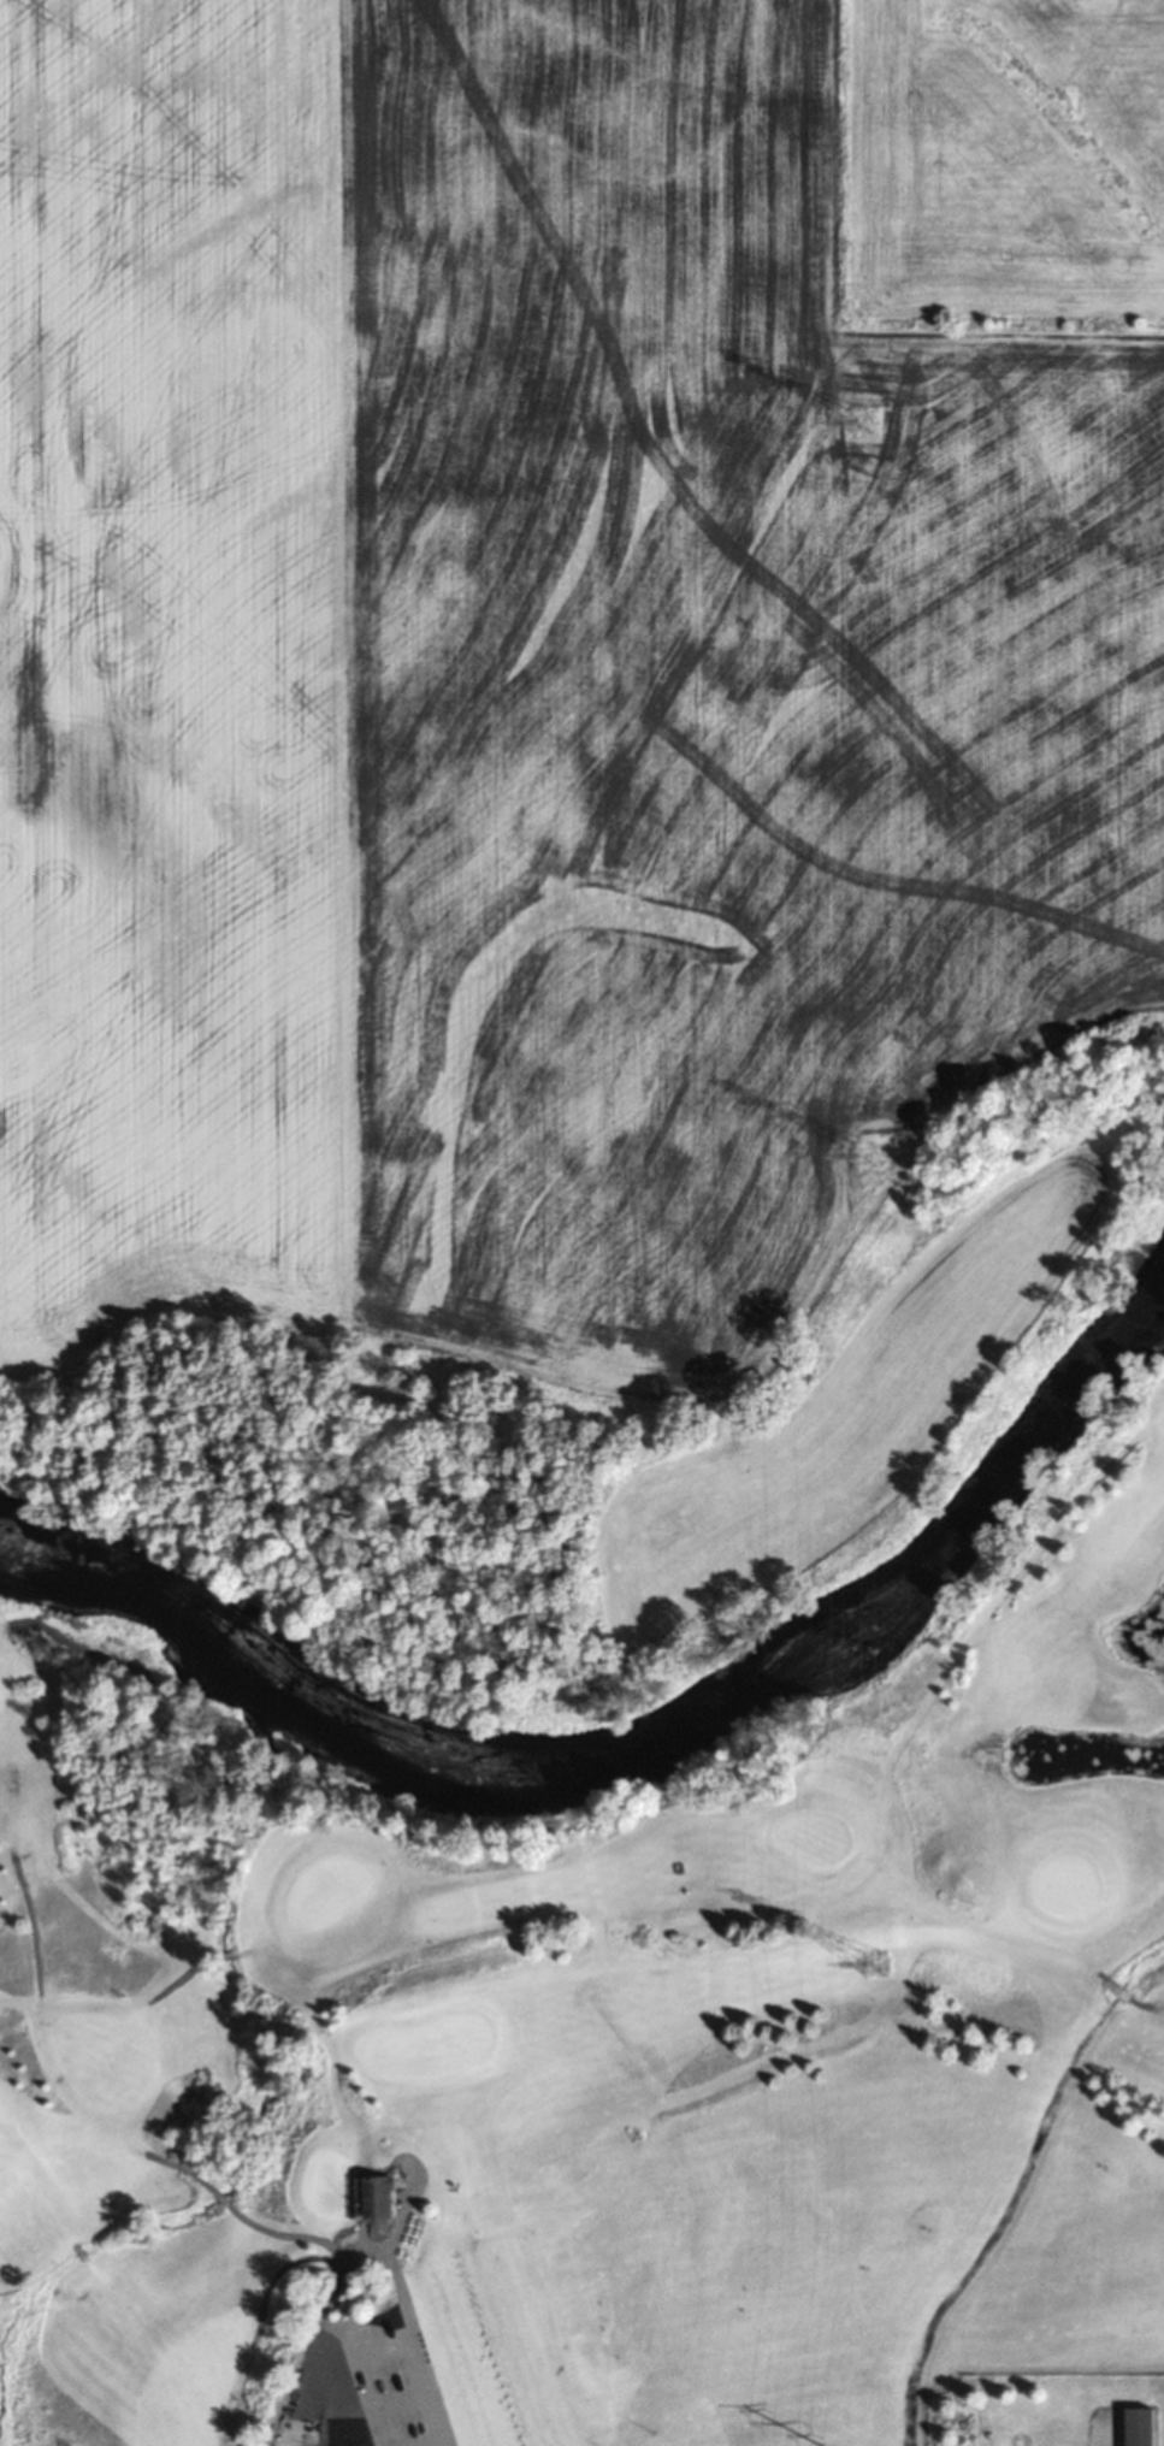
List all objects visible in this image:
power tower: (862, 419)
power tower: (865, 1153)
river: (652, 1706)
road: (208, 1962)
road: (45, 1963)
power tower: (871, 1963)
road: (1131, 1987)
park: (601, 2046)
road: (25, 2091)
building: (384, 2193)
road: (314, 2231)
road: (93, 2243)
road: (339, 2294)
road: (313, 2362)
road: (436, 2410)

